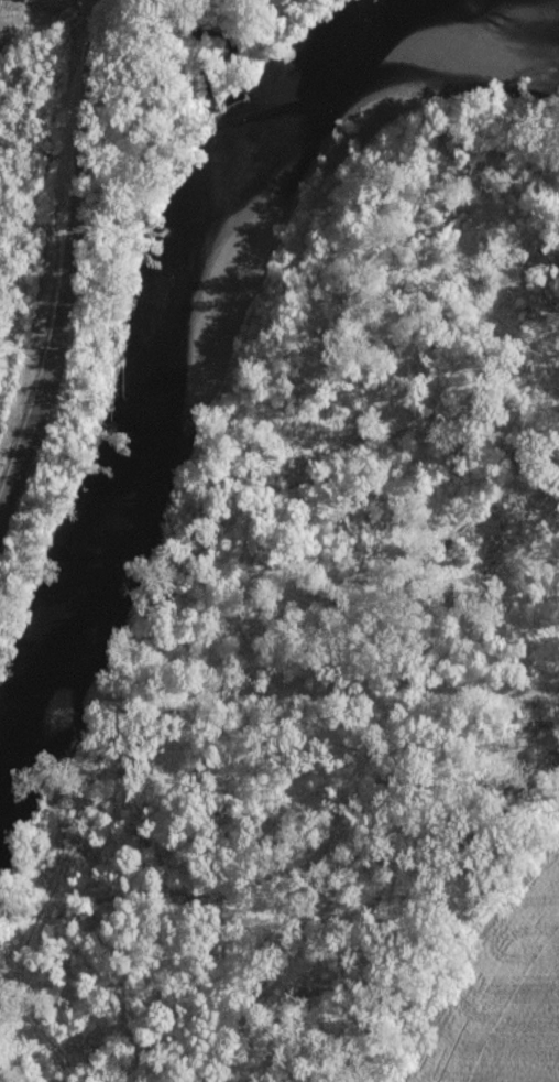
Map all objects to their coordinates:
road: (74, 268)
river: (189, 273)

